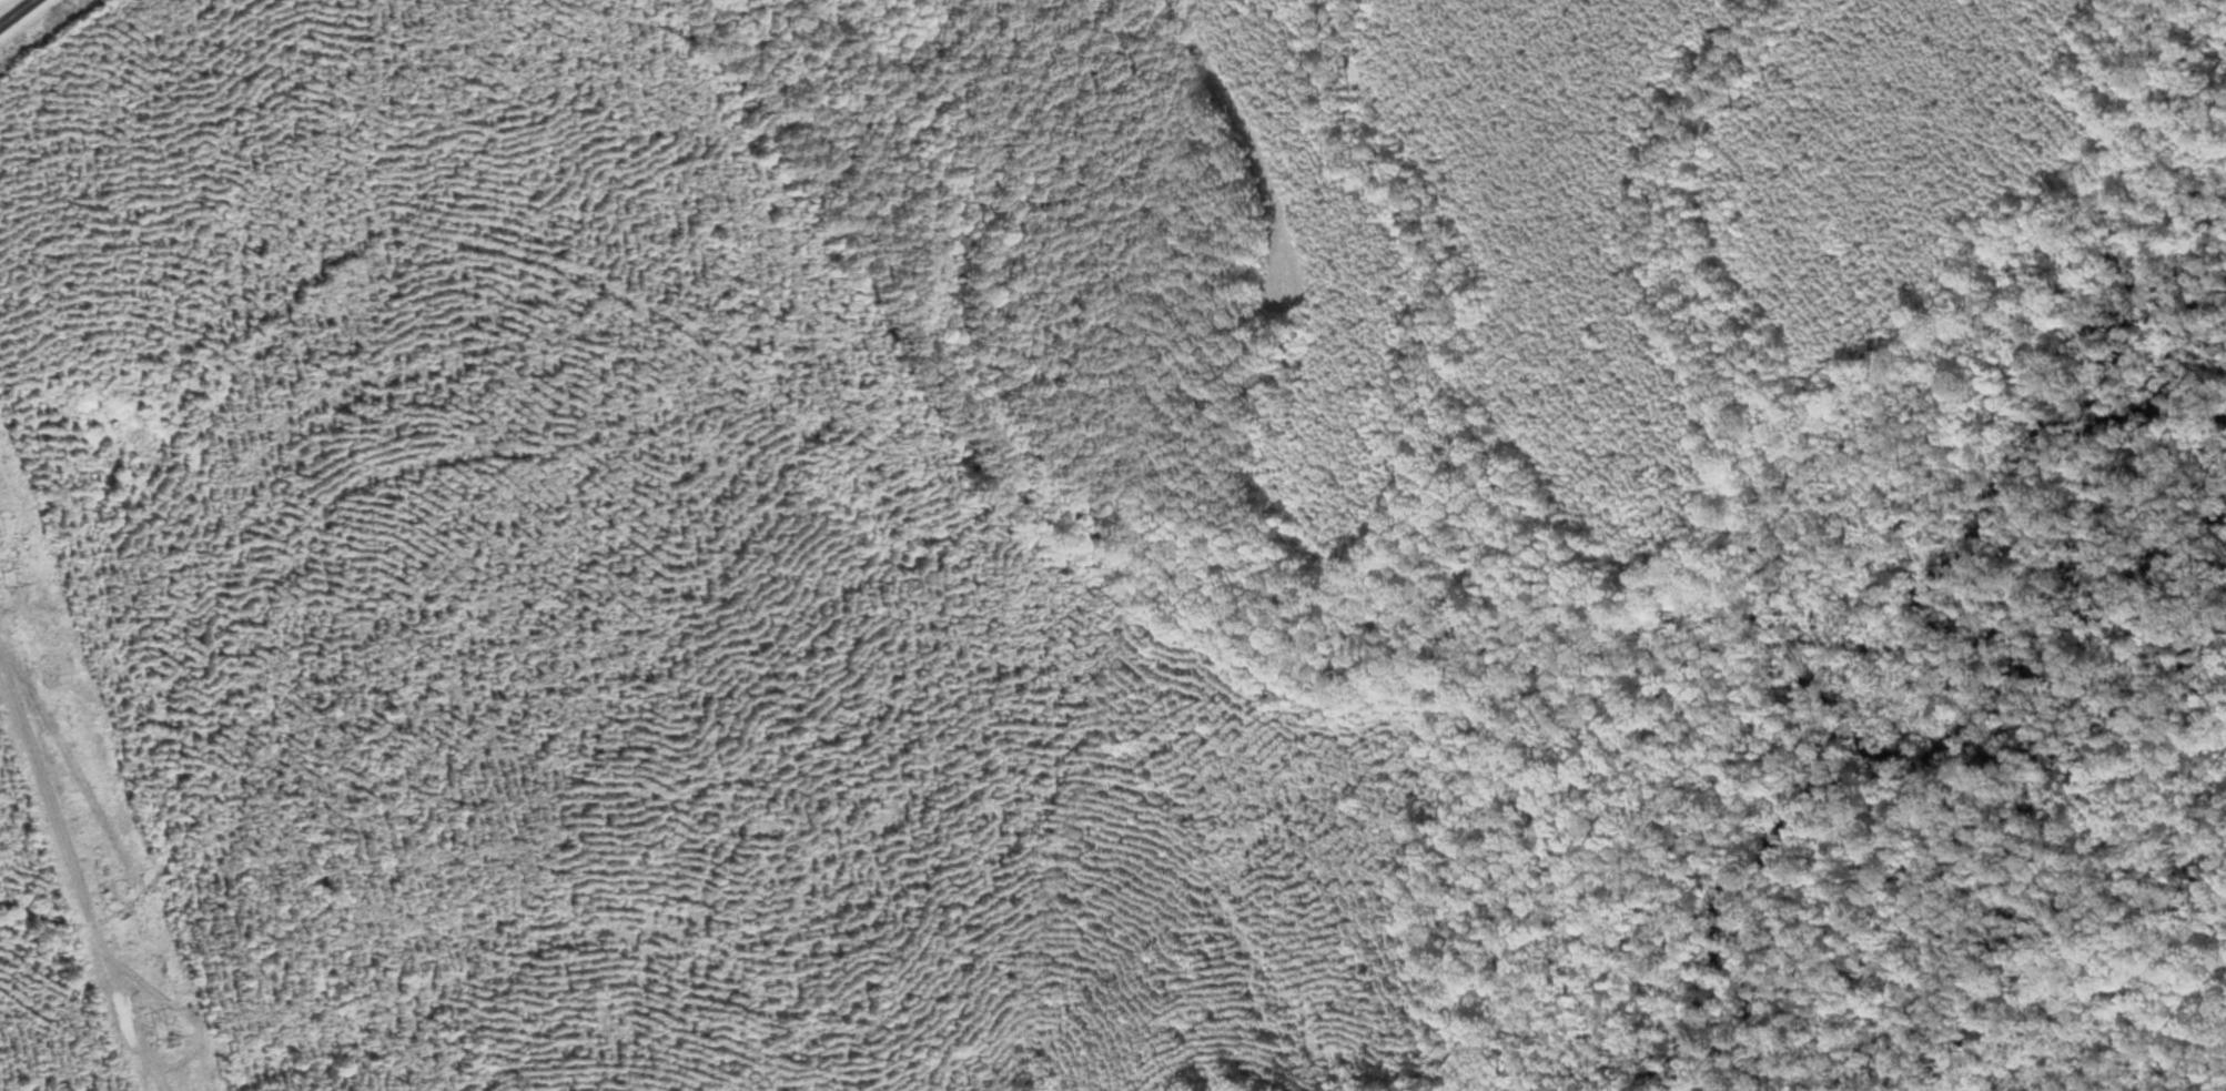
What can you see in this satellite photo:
road: (14, 11)
power tower: (4, 585)
power tower: (151, 1038)

